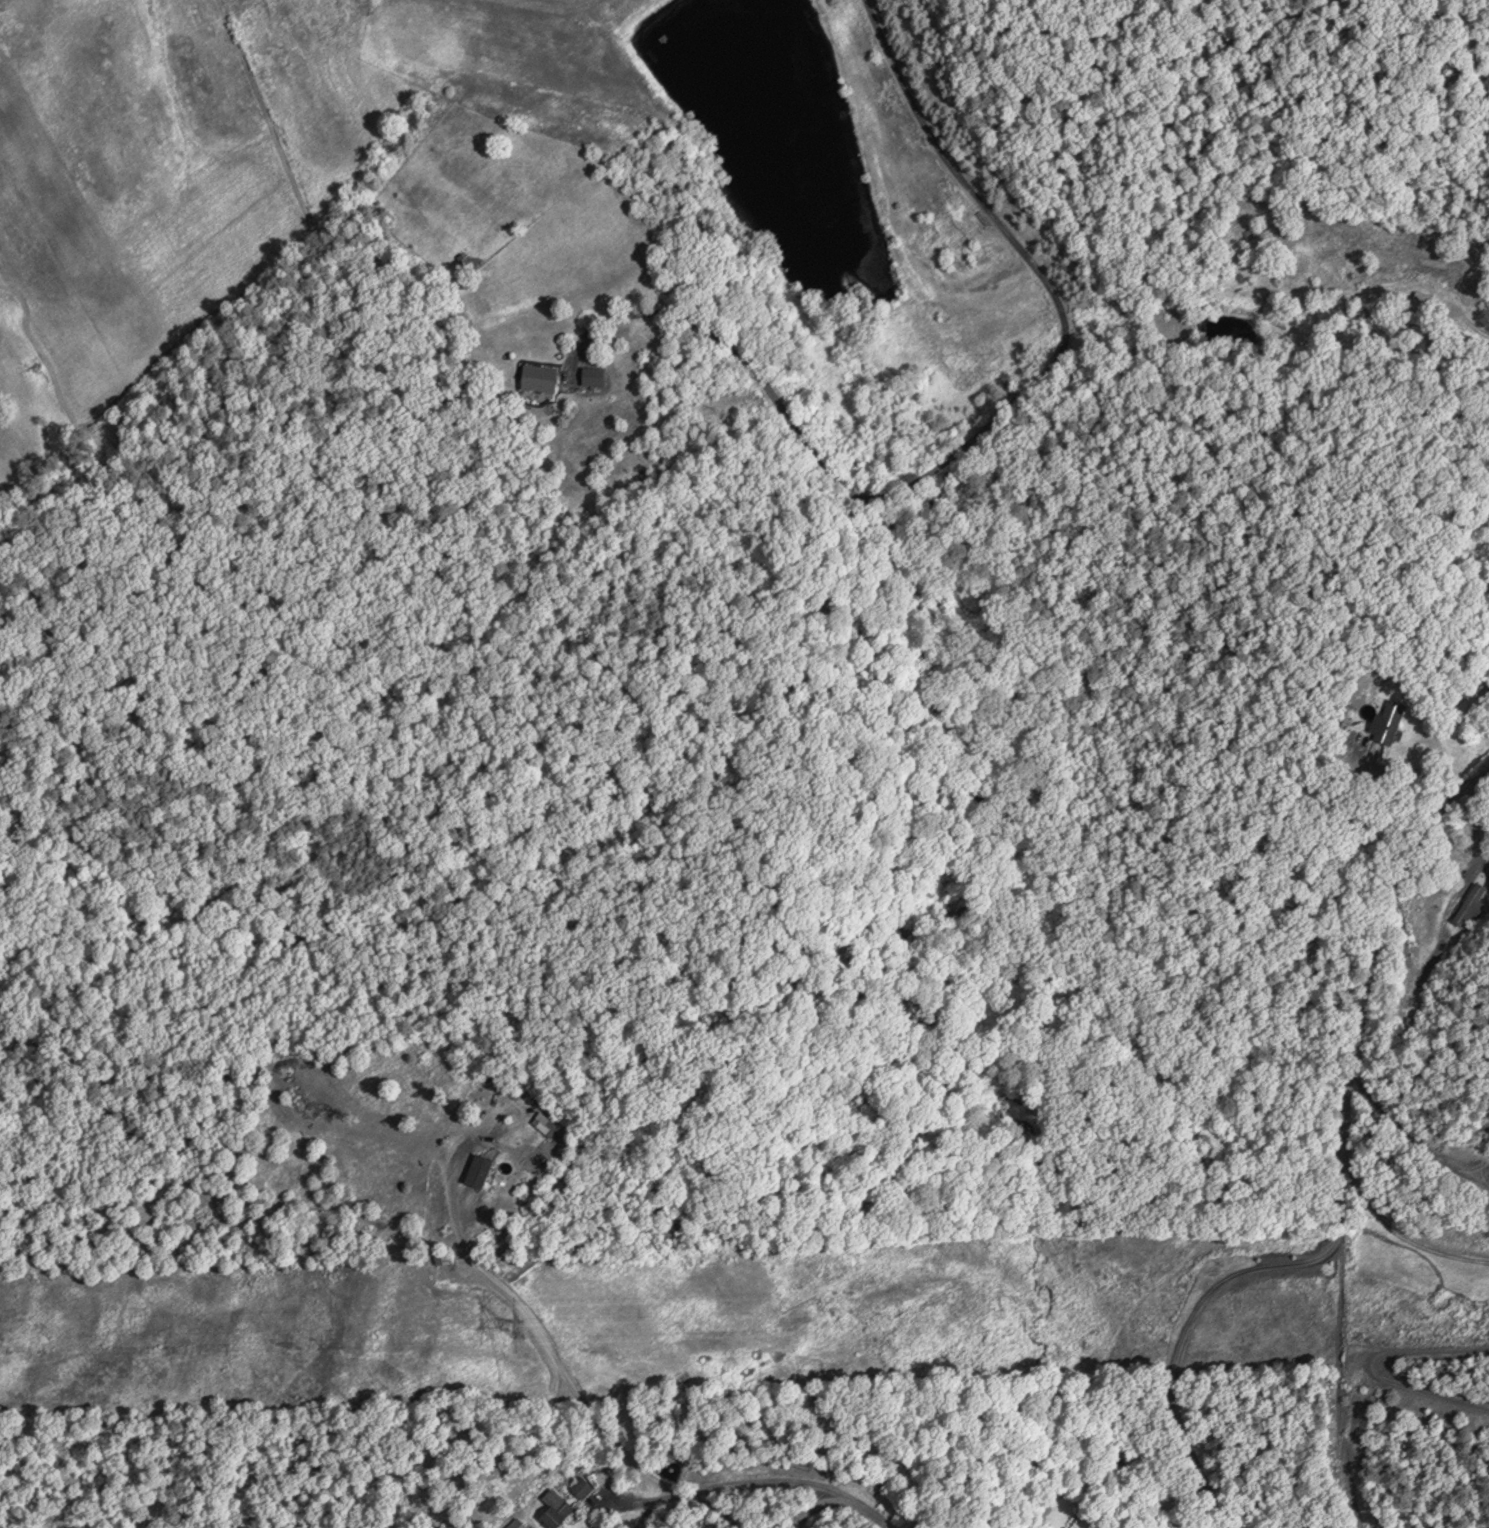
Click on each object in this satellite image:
dam: (551, 9)
building: (592, 374)
building: (539, 376)
road: (973, 434)
building: (1390, 720)
building: (1469, 904)
building: (502, 1104)
building: (546, 1123)
road: (1341, 1181)
power tower: (516, 1326)
road: (545, 1337)
road: (803, 1480)
building: (581, 1486)
road: (662, 1501)
road: (819, 1505)
building: (558, 1512)
building: (516, 1524)

